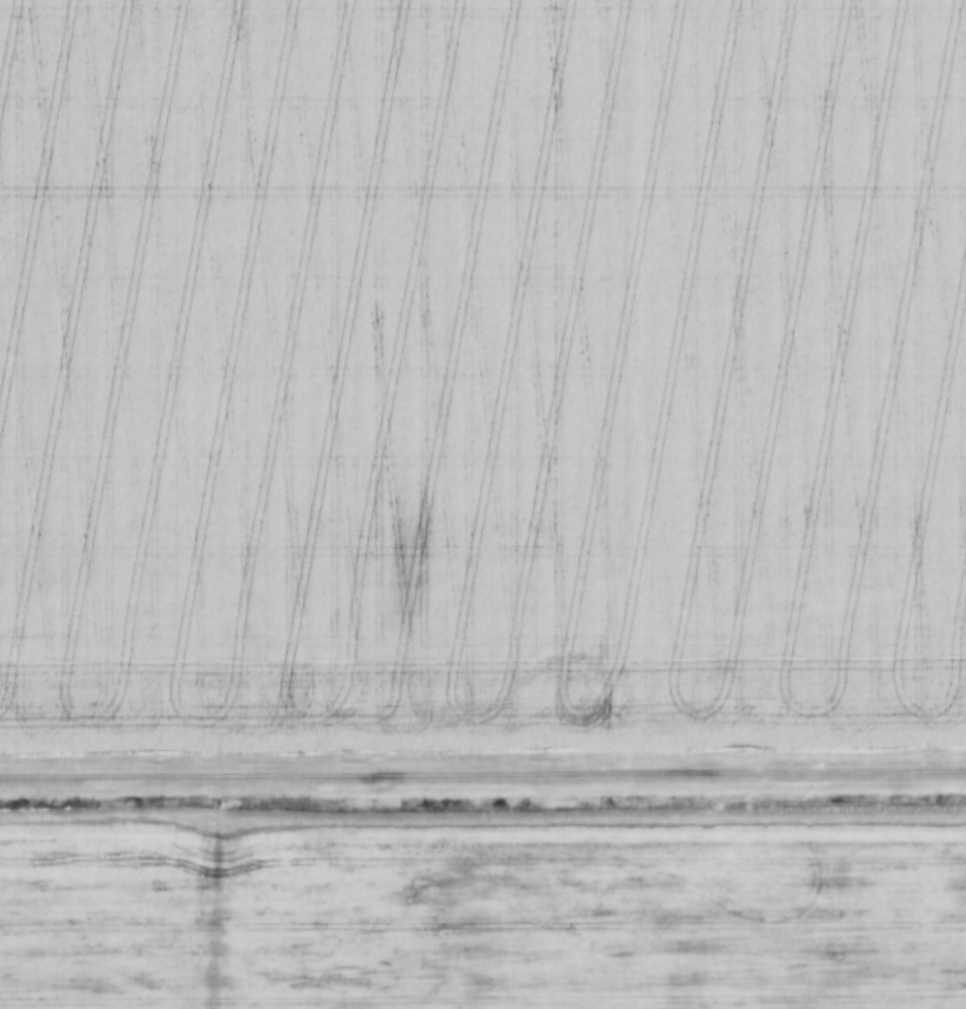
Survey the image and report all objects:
crop: (482, 373)
road: (483, 773)
crop: (483, 913)

